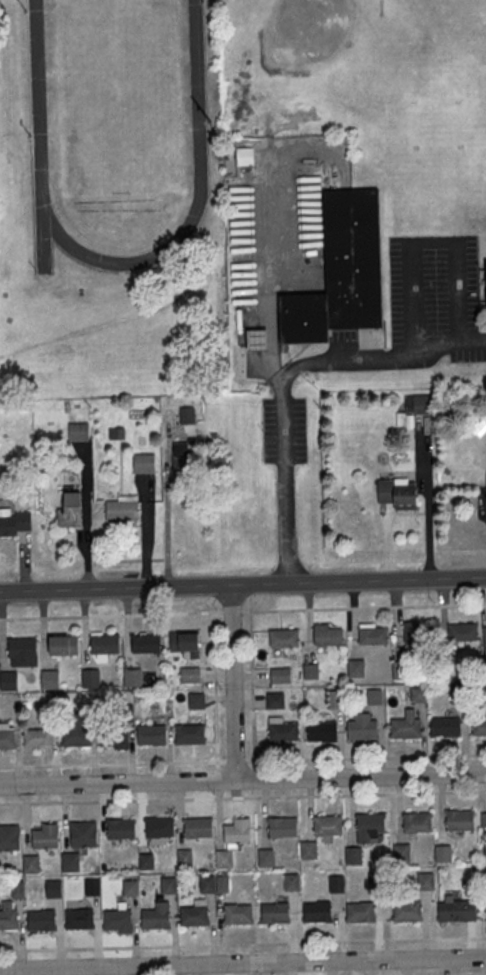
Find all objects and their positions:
building: (244, 156)
road: (426, 245)
building: (340, 272)
parking lot: (431, 286)
building: (258, 339)
road: (287, 379)
building: (422, 405)
building: (187, 416)
building: (79, 432)
building: (116, 433)
building: (181, 457)
building: (144, 464)
building: (397, 493)
road: (429, 497)
building: (71, 511)
building: (123, 512)
road: (168, 514)
road: (86, 515)
building: (15, 523)
road: (147, 531)
road: (387, 543)
road: (25, 562)
road: (243, 587)
road: (242, 610)
building: (463, 633)
building: (419, 635)
building: (329, 636)
building: (373, 637)
building: (284, 639)
building: (485, 640)
building: (185, 643)
building: (105, 644)
building: (146, 645)
building: (64, 647)
building: (23, 652)
building: (356, 670)
building: (400, 670)
building: (312, 672)
building: (189, 674)
building: (281, 677)
building: (133, 678)
building: (91, 679)
building: (51, 681)
building: (9, 682)
road: (231, 683)
road: (251, 683)
road: (214, 690)
building: (419, 696)
building: (459, 696)
building: (375, 698)
building: (196, 700)
building: (276, 701)
building: (336, 702)
building: (479, 727)
building: (445, 728)
building: (405, 729)
building: (363, 731)
building: (284, 733)
building: (323, 733)
building: (152, 735)
building: (190, 735)
building: (77, 737)
building: (114, 737)
building: (39, 738)
building: (7, 740)
road: (243, 760)
road: (217, 775)
road: (242, 780)
road: (243, 797)
building: (460, 820)
building: (417, 821)
building: (484, 821)
building: (371, 823)
building: (328, 825)
building: (282, 826)
building: (159, 827)
building: (120, 828)
building: (199, 828)
building: (237, 830)
building: (83, 834)
building: (45, 835)
building: (9, 837)
building: (309, 850)
building: (485, 853)
building: (402, 854)
building: (444, 854)
building: (353, 856)
building: (267, 858)
building: (224, 859)
building: (186, 860)
building: (147, 862)
building: (70, 863)
building: (31, 864)
building: (291, 882)
building: (377, 882)
building: (426, 882)
building: (207, 883)
building: (222, 883)
building: (337, 885)
building: (170, 886)
building: (93, 888)
building: (18, 889)
building: (131, 889)
building: (54, 890)
building: (457, 911)
building: (408, 912)
building: (485, 912)
building: (317, 913)
building: (361, 913)
building: (276, 914)
building: (239, 916)
building: (195, 917)
building: (80, 919)
building: (9, 920)
building: (118, 920)
building: (156, 920)
building: (42, 921)
road: (243, 945)
road: (243, 964)

